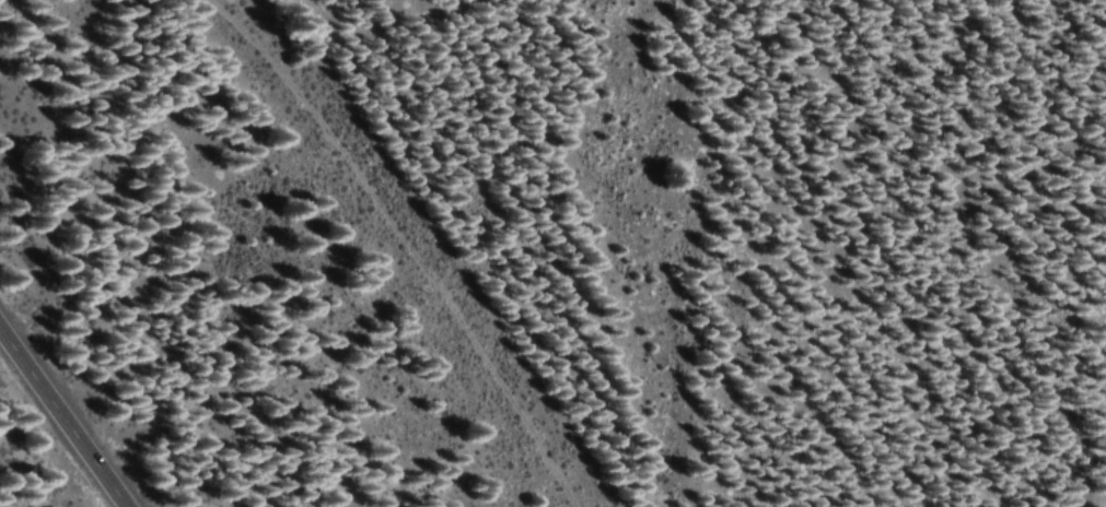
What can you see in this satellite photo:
road: (66, 414)

